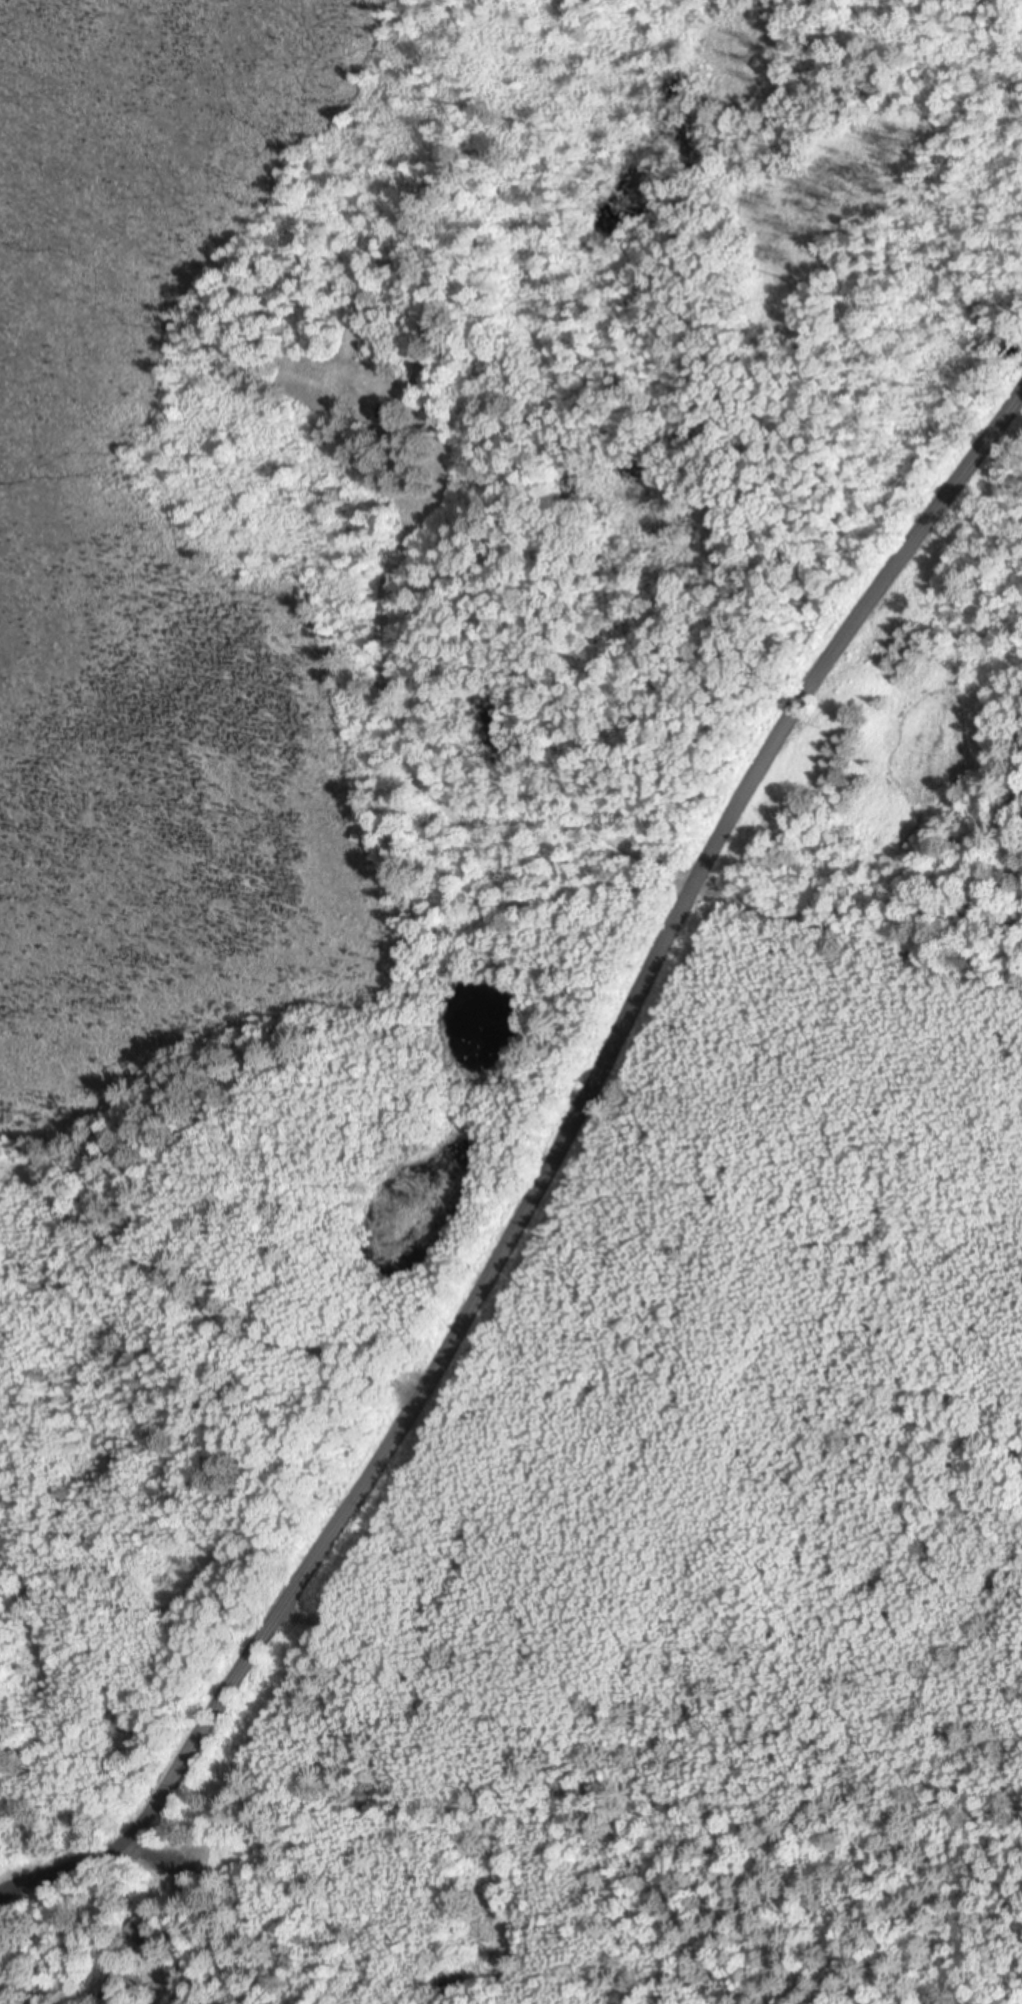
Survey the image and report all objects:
road: (859, 936)
road: (543, 1169)
road: (8, 1893)

